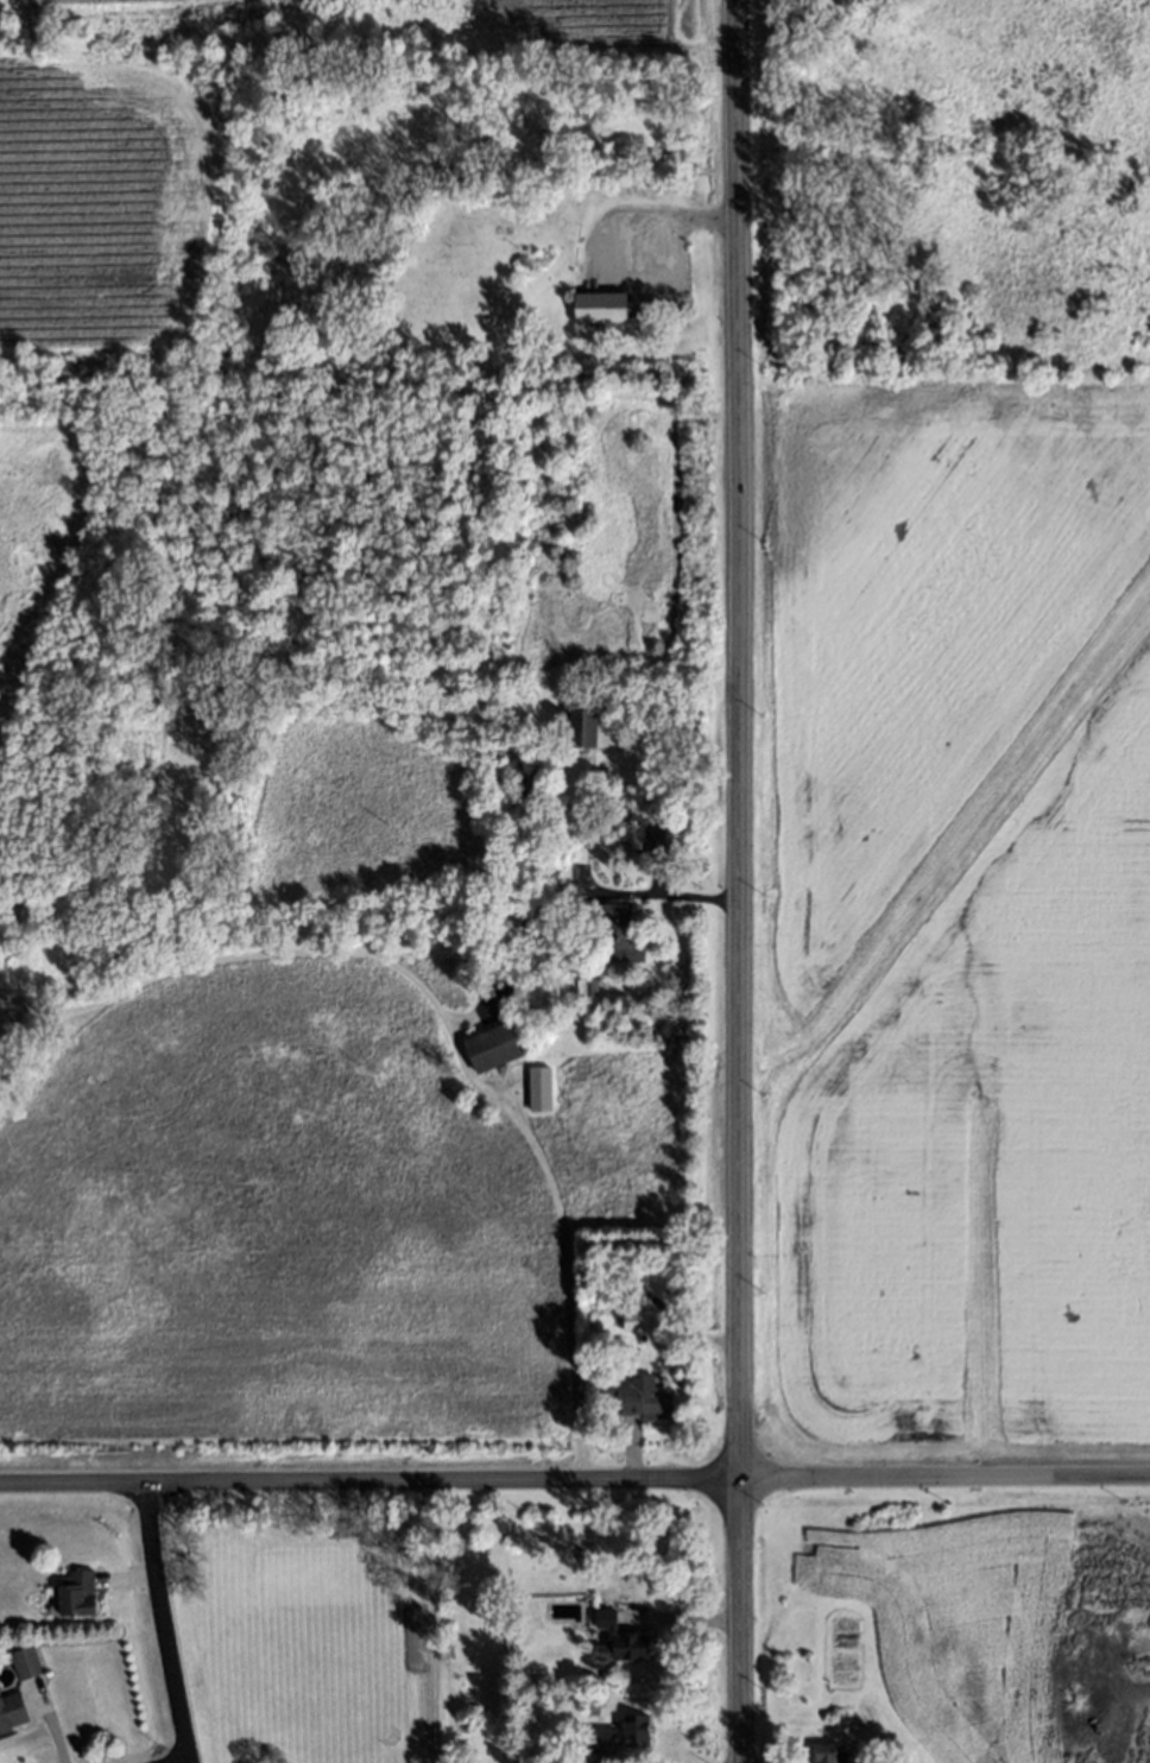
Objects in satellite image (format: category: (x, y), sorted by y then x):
building: (624, 187)
road: (670, 228)
building: (601, 307)
building: (585, 727)
building: (600, 772)
building: (529, 784)
building: (658, 840)
road: (739, 880)
road: (558, 901)
building: (611, 923)
building: (592, 986)
road: (447, 1023)
building: (493, 1047)
building: (541, 1089)
building: (640, 1320)
building: (640, 1392)
road: (944, 1478)
road: (368, 1481)
building: (78, 1592)
park: (292, 1618)
road: (431, 1622)
road: (165, 1623)
crop: (1003, 1635)
building: (620, 1639)
building: (26, 1662)
building: (592, 1677)
building: (12, 1710)
building: (620, 1734)
building: (830, 1753)

